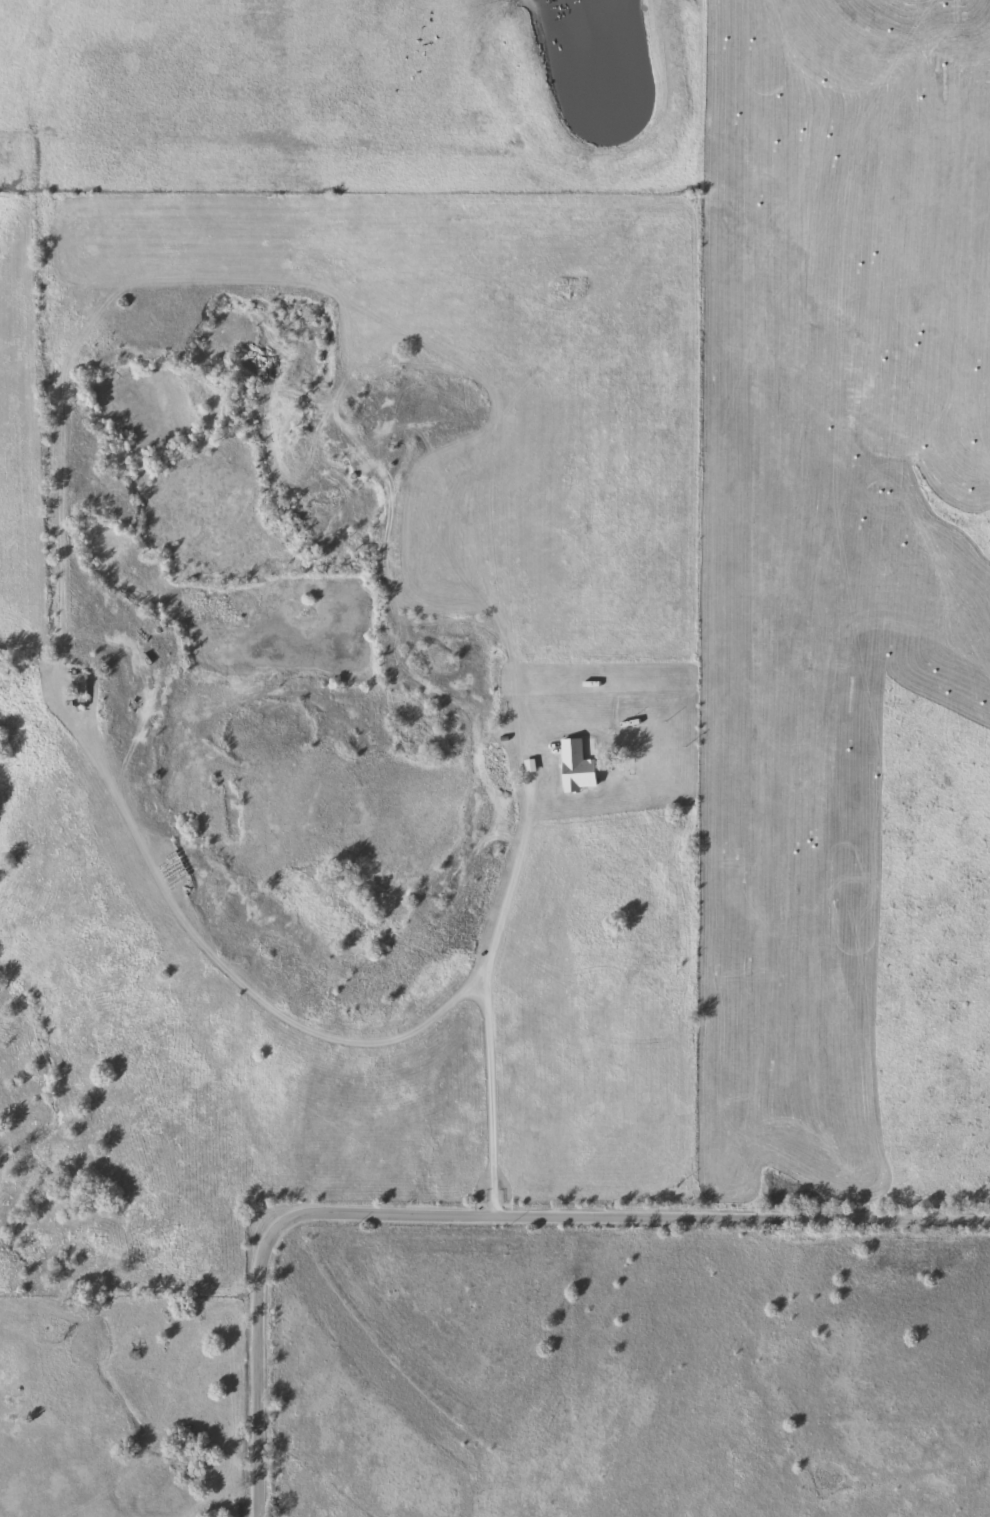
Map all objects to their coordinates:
building: (80, 686)
building: (586, 744)
road: (513, 882)
road: (226, 970)
road: (485, 1094)
road: (485, 1207)

